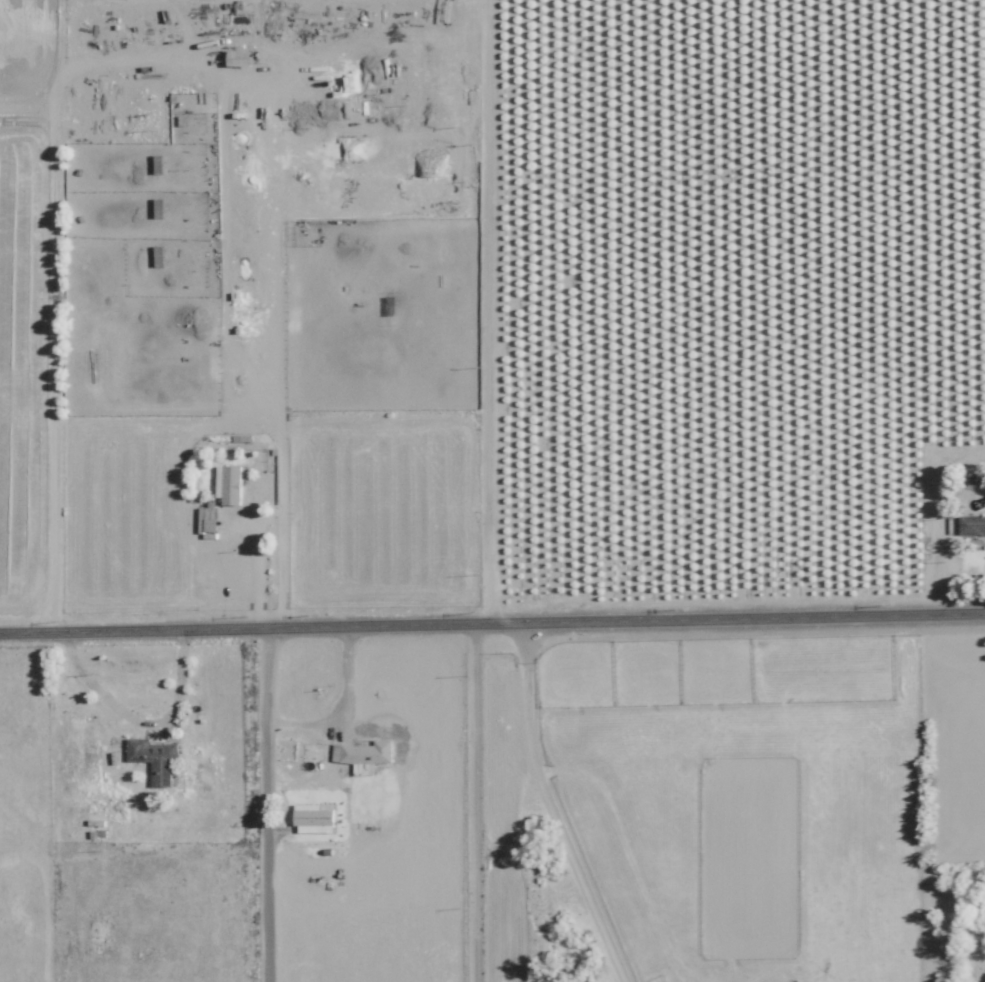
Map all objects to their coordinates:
road: (495, 310)
road: (52, 371)
building: (232, 484)
road: (256, 573)
road: (492, 619)
road: (347, 670)
road: (299, 717)
road: (139, 719)
building: (161, 761)
road: (472, 801)
road: (261, 802)
road: (554, 805)
building: (317, 819)

